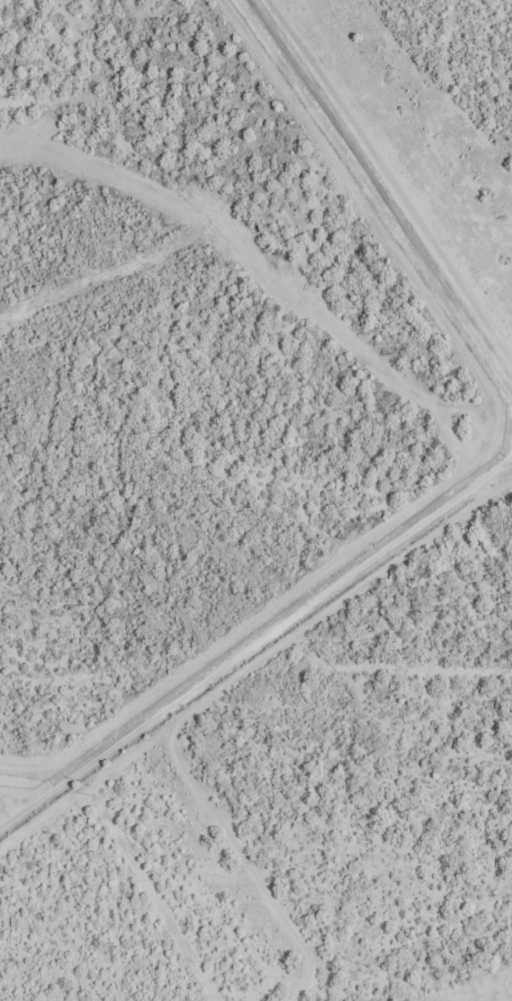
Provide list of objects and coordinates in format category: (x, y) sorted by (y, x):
road: (385, 189)
road: (256, 644)

